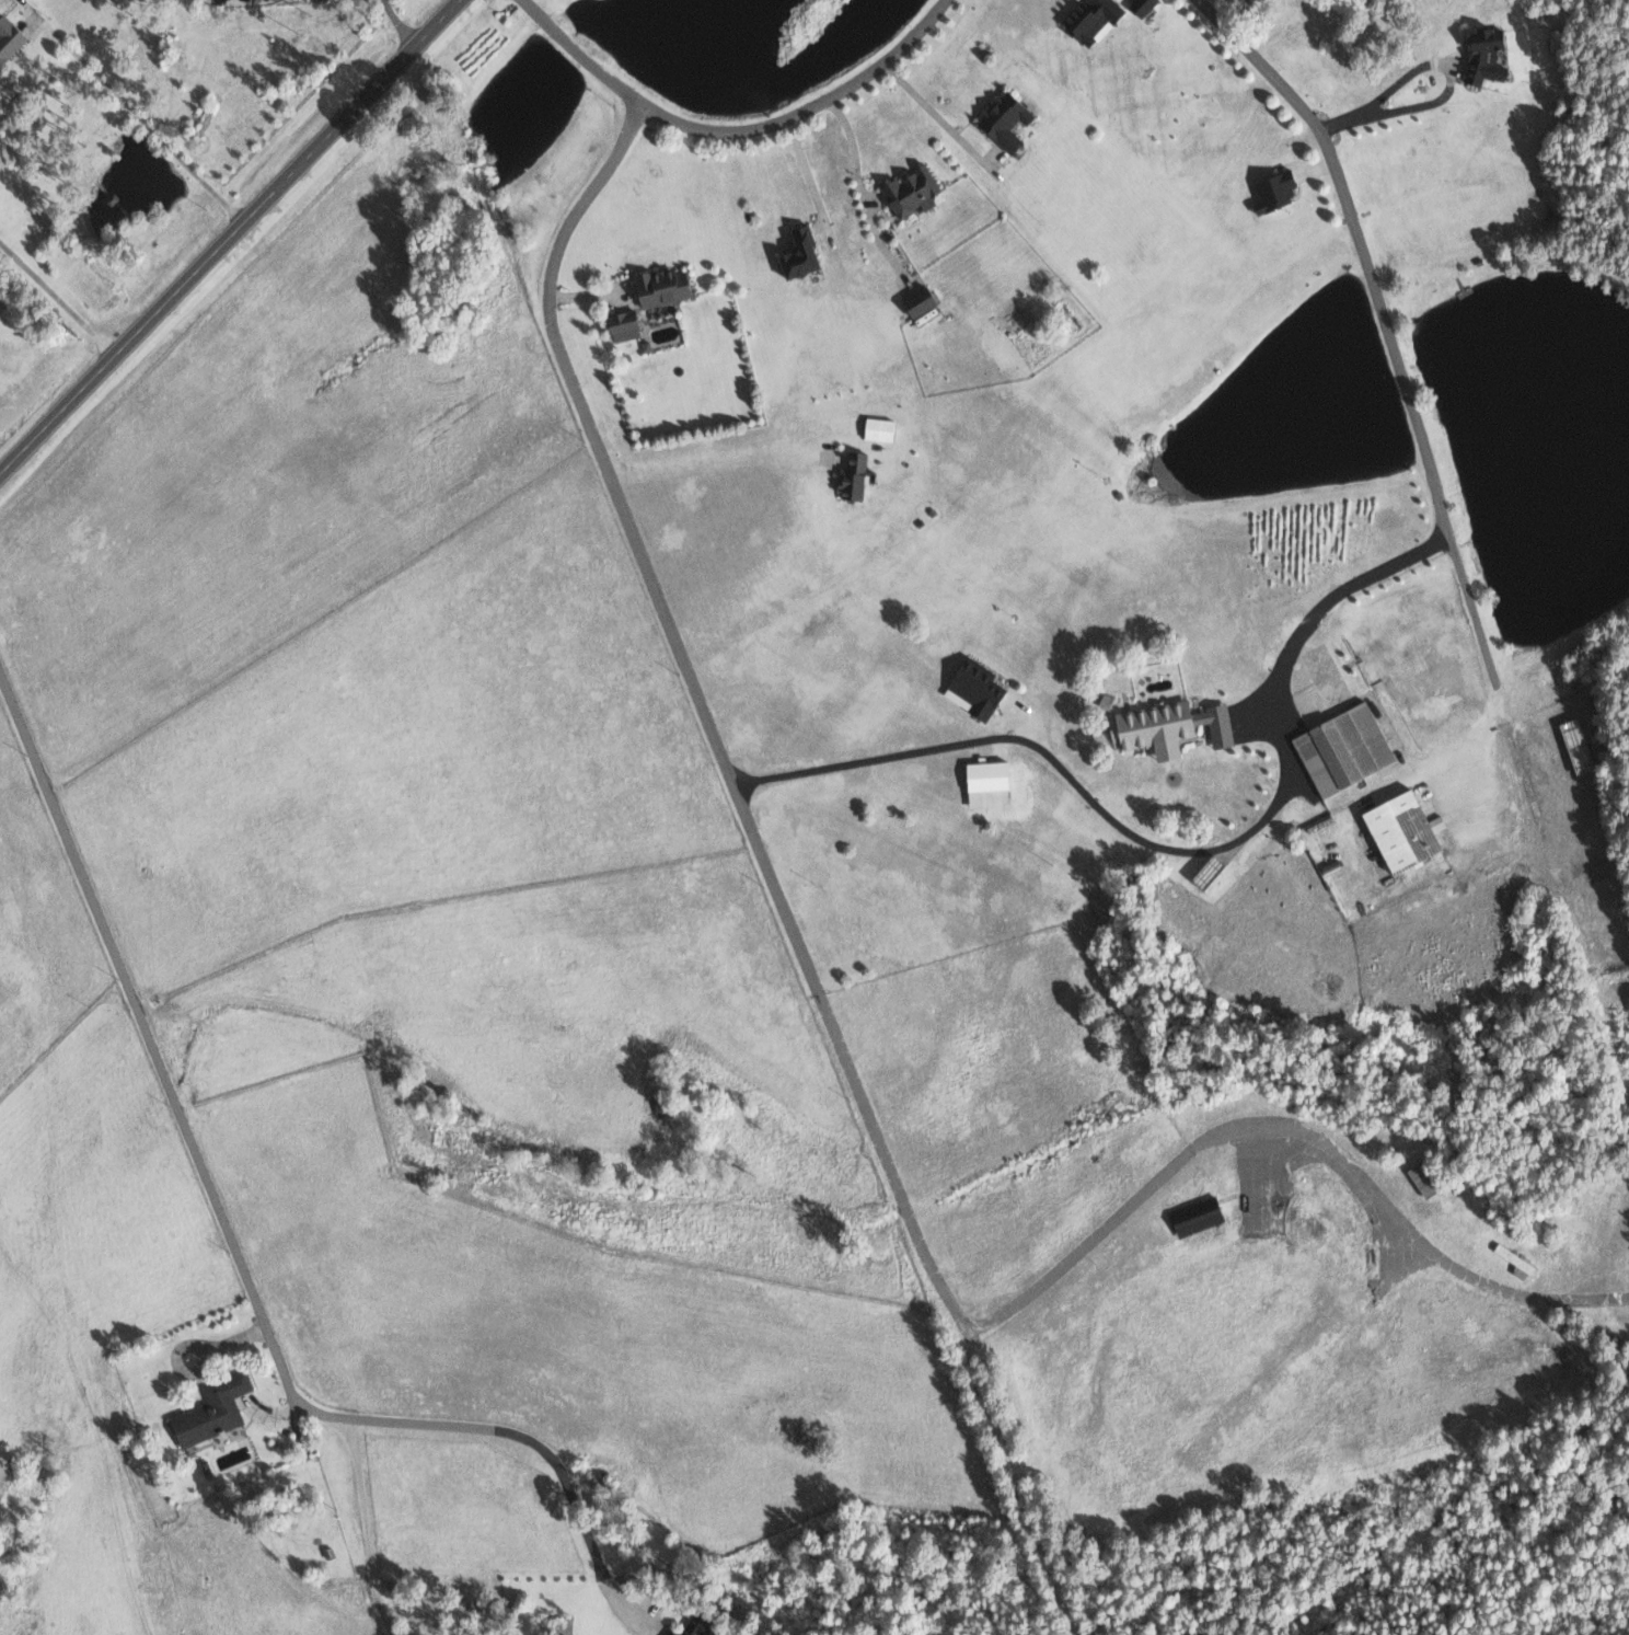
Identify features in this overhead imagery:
building: (1140, 7)
building: (1089, 18)
road: (398, 22)
building: (9, 37)
building: (1481, 55)
road: (1368, 107)
building: (1003, 119)
road: (731, 129)
building: (1272, 188)
building: (909, 191)
road: (227, 235)
building: (797, 253)
building: (659, 286)
building: (916, 301)
road: (1382, 304)
building: (622, 325)
building: (876, 428)
building: (852, 475)
building: (971, 688)
building: (1218, 724)
building: (1155, 726)
building: (1574, 746)
building: (1341, 748)
building: (1398, 831)
road: (854, 1073)
building: (1194, 1217)
building: (210, 1409)
building: (693, 1624)

